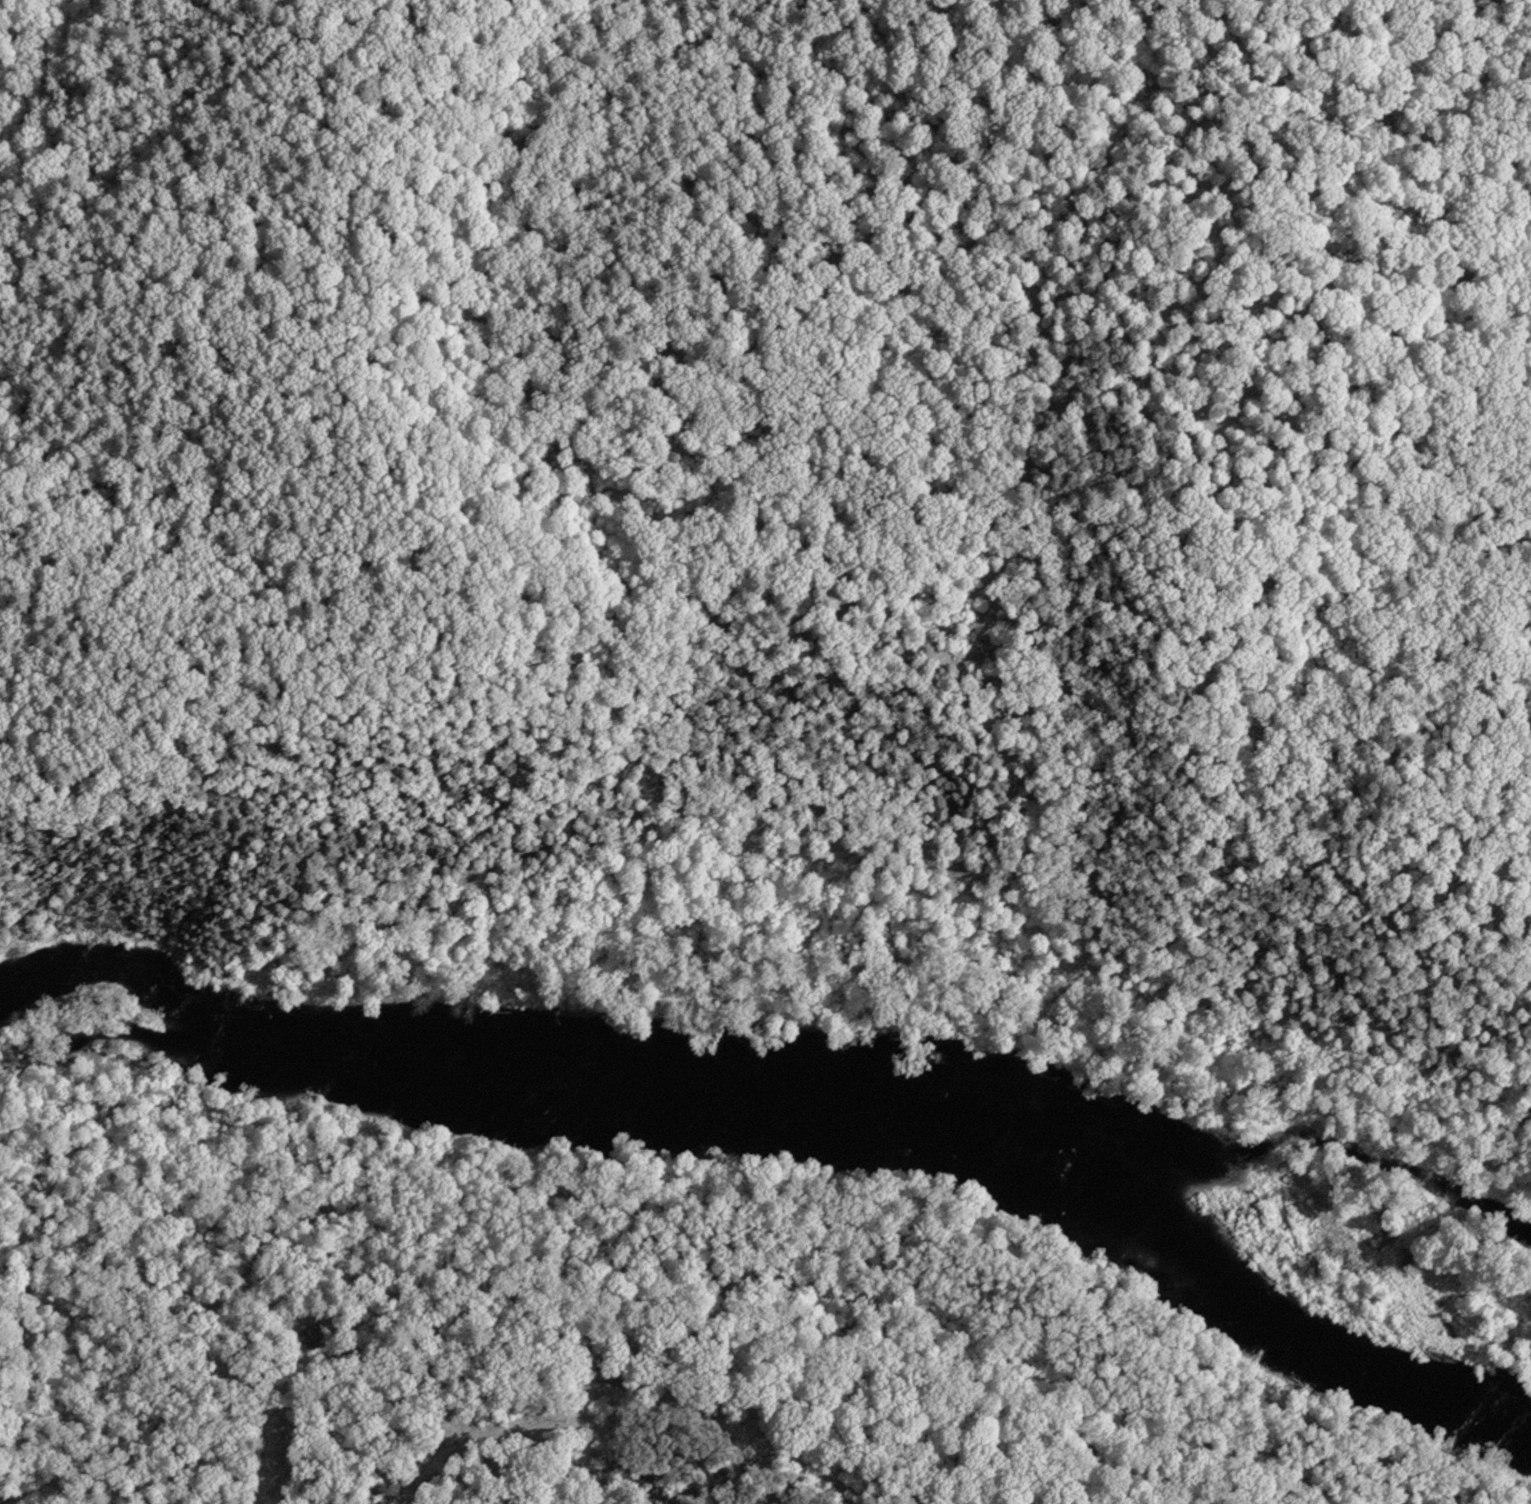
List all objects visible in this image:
river: (793, 1111)

